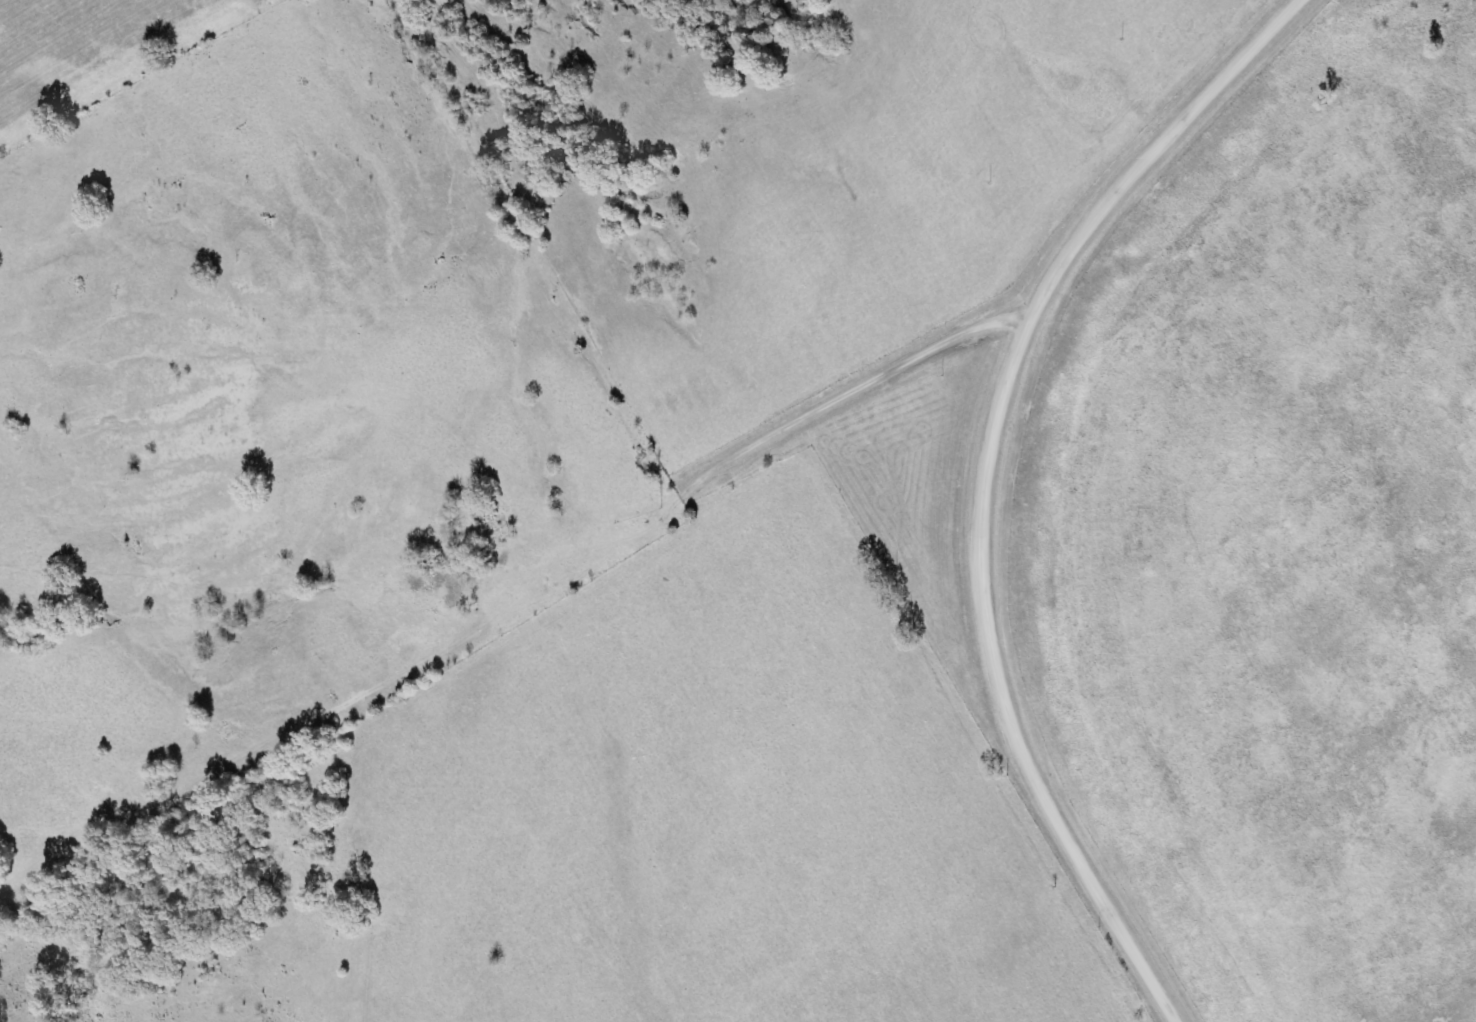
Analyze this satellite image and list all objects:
road: (987, 481)

